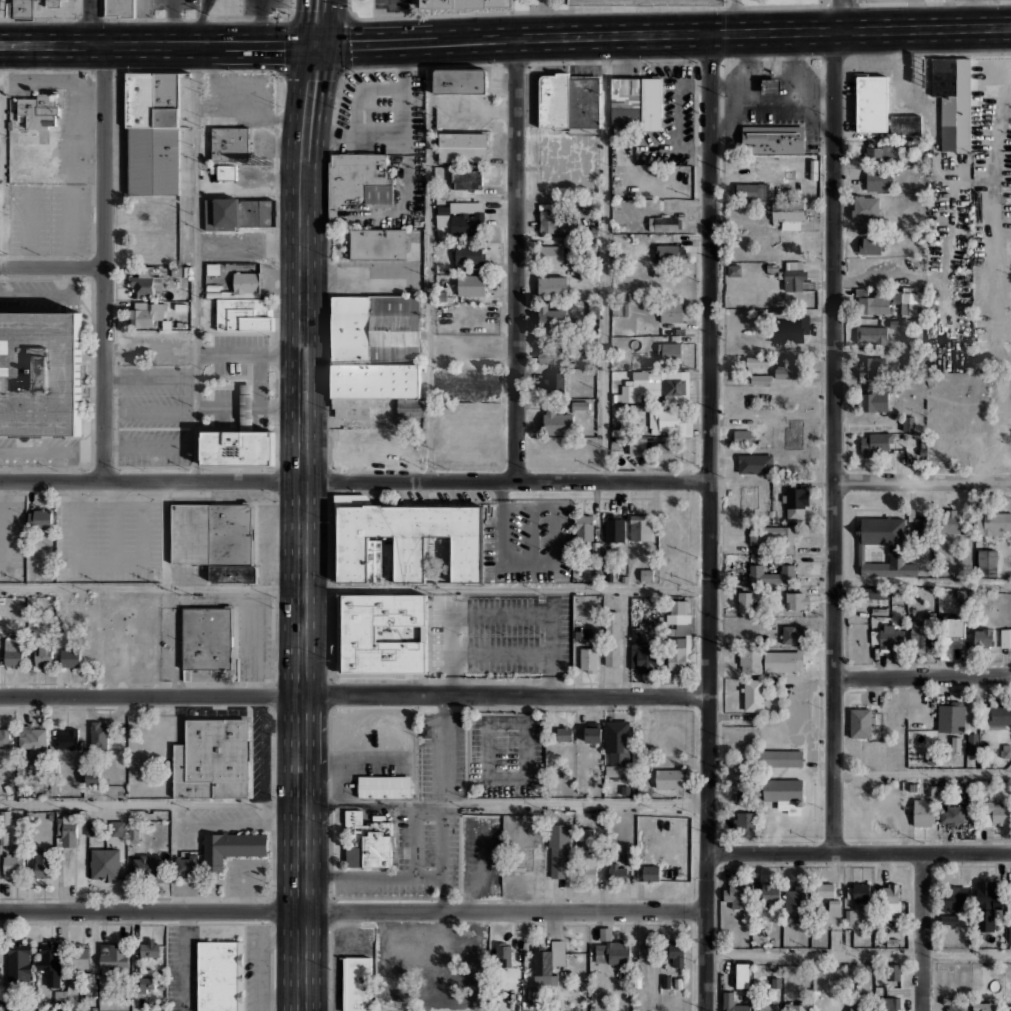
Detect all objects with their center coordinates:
parking lot: (884, 0)
building: (647, 1)
building: (52, 3)
parking lot: (174, 3)
building: (466, 3)
parking lot: (392, 4)
road: (392, 5)
building: (118, 8)
building: (22, 9)
road: (948, 13)
road: (836, 15)
road: (733, 16)
road: (91, 22)
road: (200, 22)
road: (317, 22)
road: (922, 27)
road: (574, 35)
road: (158, 45)
traffic signals: (316, 45)
building: (460, 80)
building: (770, 87)
gas station: (770, 87)
parking lot: (239, 98)
building: (553, 100)
building: (583, 100)
building: (953, 101)
building: (871, 102)
building: (635, 104)
building: (40, 109)
building: (905, 126)
building: (152, 133)
road: (398, 133)
building: (230, 135)
building: (773, 139)
building: (462, 147)
building: (230, 152)
road: (4, 155)
building: (884, 155)
parking lot: (569, 164)
building: (223, 171)
building: (466, 179)
building: (357, 180)
building: (878, 182)
building: (744, 193)
building: (443, 194)
building: (139, 210)
building: (864, 210)
building: (787, 212)
building: (238, 213)
parking lot: (48, 217)
building: (558, 221)
building: (663, 223)
building: (465, 224)
building: (377, 244)
building: (869, 246)
building: (140, 249)
building: (665, 253)
building: (551, 254)
building: (468, 255)
road: (604, 258)
road: (516, 259)
road: (429, 261)
road: (103, 262)
road: (197, 263)
road: (51, 265)
building: (772, 268)
building: (734, 270)
road: (362, 276)
building: (589, 276)
parking lot: (378, 277)
building: (796, 277)
building: (144, 281)
building: (245, 282)
building: (471, 284)
building: (552, 284)
building: (871, 304)
building: (908, 304)
building: (619, 309)
building: (671, 311)
building: (144, 313)
building: (243, 313)
building: (550, 315)
building: (757, 318)
building: (894, 323)
building: (374, 324)
building: (790, 330)
building: (870, 337)
road: (150, 346)
building: (670, 350)
parking lot: (237, 352)
road: (250, 353)
building: (583, 353)
building: (551, 355)
building: (374, 358)
building: (757, 360)
building: (872, 365)
building: (793, 366)
building: (40, 372)
building: (761, 378)
building: (375, 381)
building: (554, 383)
building: (660, 387)
building: (877, 401)
building: (580, 405)
building: (410, 407)
building: (348, 409)
parking lot: (153, 416)
building: (669, 421)
building: (556, 422)
building: (908, 424)
building: (624, 428)
building: (742, 434)
building: (237, 440)
road: (833, 441)
building: (380, 442)
building: (878, 445)
building: (656, 449)
road: (922, 481)
road: (354, 482)
building: (797, 504)
building: (39, 517)
road: (708, 521)
building: (952, 522)
building: (995, 523)
road: (302, 527)
building: (584, 527)
building: (641, 527)
building: (920, 527)
building: (614, 529)
building: (210, 533)
road: (165, 534)
building: (771, 534)
parking lot: (11, 537)
parking lot: (110, 538)
building: (404, 540)
parking lot: (529, 543)
building: (884, 547)
building: (987, 562)
building: (608, 572)
building: (232, 573)
building: (646, 574)
building: (772, 574)
building: (624, 579)
road: (150, 586)
road: (505, 587)
building: (901, 589)
building: (875, 593)
building: (961, 596)
building: (797, 600)
building: (745, 601)
building: (878, 610)
road: (502, 611)
building: (382, 632)
parking lot: (501, 633)
building: (922, 633)
building: (793, 634)
building: (678, 635)
building: (950, 636)
building: (1005, 637)
building: (206, 638)
building: (612, 638)
building: (888, 638)
building: (981, 638)
building: (13, 650)
building: (642, 652)
building: (42, 654)
building: (70, 656)
building: (588, 659)
building: (750, 660)
building: (782, 661)
road: (922, 675)
building: (754, 694)
road: (151, 697)
road: (505, 697)
building: (995, 717)
building: (951, 718)
building: (861, 722)
building: (98, 733)
building: (563, 733)
building: (593, 733)
building: (4, 737)
building: (68, 738)
building: (32, 741)
building: (618, 742)
building: (956, 742)
building: (973, 743)
building: (1005, 751)
parking lot: (505, 753)
building: (949, 756)
building: (781, 758)
building: (211, 759)
parking lot: (441, 761)
road: (921, 771)
building: (92, 777)
building: (670, 779)
building: (980, 784)
building: (384, 787)
building: (913, 787)
building: (783, 790)
building: (931, 790)
road: (504, 800)
road: (151, 802)
building: (924, 811)
building: (995, 812)
building: (952, 815)
building: (968, 819)
building: (746, 823)
building: (117, 826)
building: (91, 827)
building: (66, 831)
building: (133, 832)
building: (586, 837)
road: (412, 838)
building: (369, 845)
building: (231, 848)
building: (558, 850)
road: (859, 852)
building: (630, 855)
road: (443, 856)
building: (522, 856)
building: (13, 862)
building: (43, 862)
building: (105, 863)
building: (185, 865)
building: (146, 866)
building: (587, 866)
building: (616, 871)
building: (650, 873)
road: (372, 875)
building: (824, 890)
building: (770, 892)
building: (859, 892)
building: (737, 895)
building: (985, 895)
building: (891, 896)
building: (954, 898)
building: (794, 903)
building: (834, 910)
road: (352, 913)
building: (848, 917)
building: (949, 919)
road: (922, 932)
building: (1009, 935)
building: (892, 942)
building: (149, 948)
building: (646, 950)
building: (610, 953)
building: (675, 953)
road: (858, 953)
building: (79, 955)
building: (504, 955)
building: (113, 956)
building: (19, 961)
building: (49, 961)
building: (547, 963)
building: (357, 964)
building: (894, 972)
building: (742, 975)
building: (220, 976)
building: (357, 978)
building: (666, 981)
road: (834, 982)
building: (677, 983)
building: (143, 984)
building: (90, 987)
building: (671, 990)
building: (533, 996)
building: (357, 998)
building: (594, 999)
building: (733, 1003)
building: (955, 1004)
building: (984, 1005)
building: (764, 1006)
building: (795, 1006)
building: (877, 1006)

